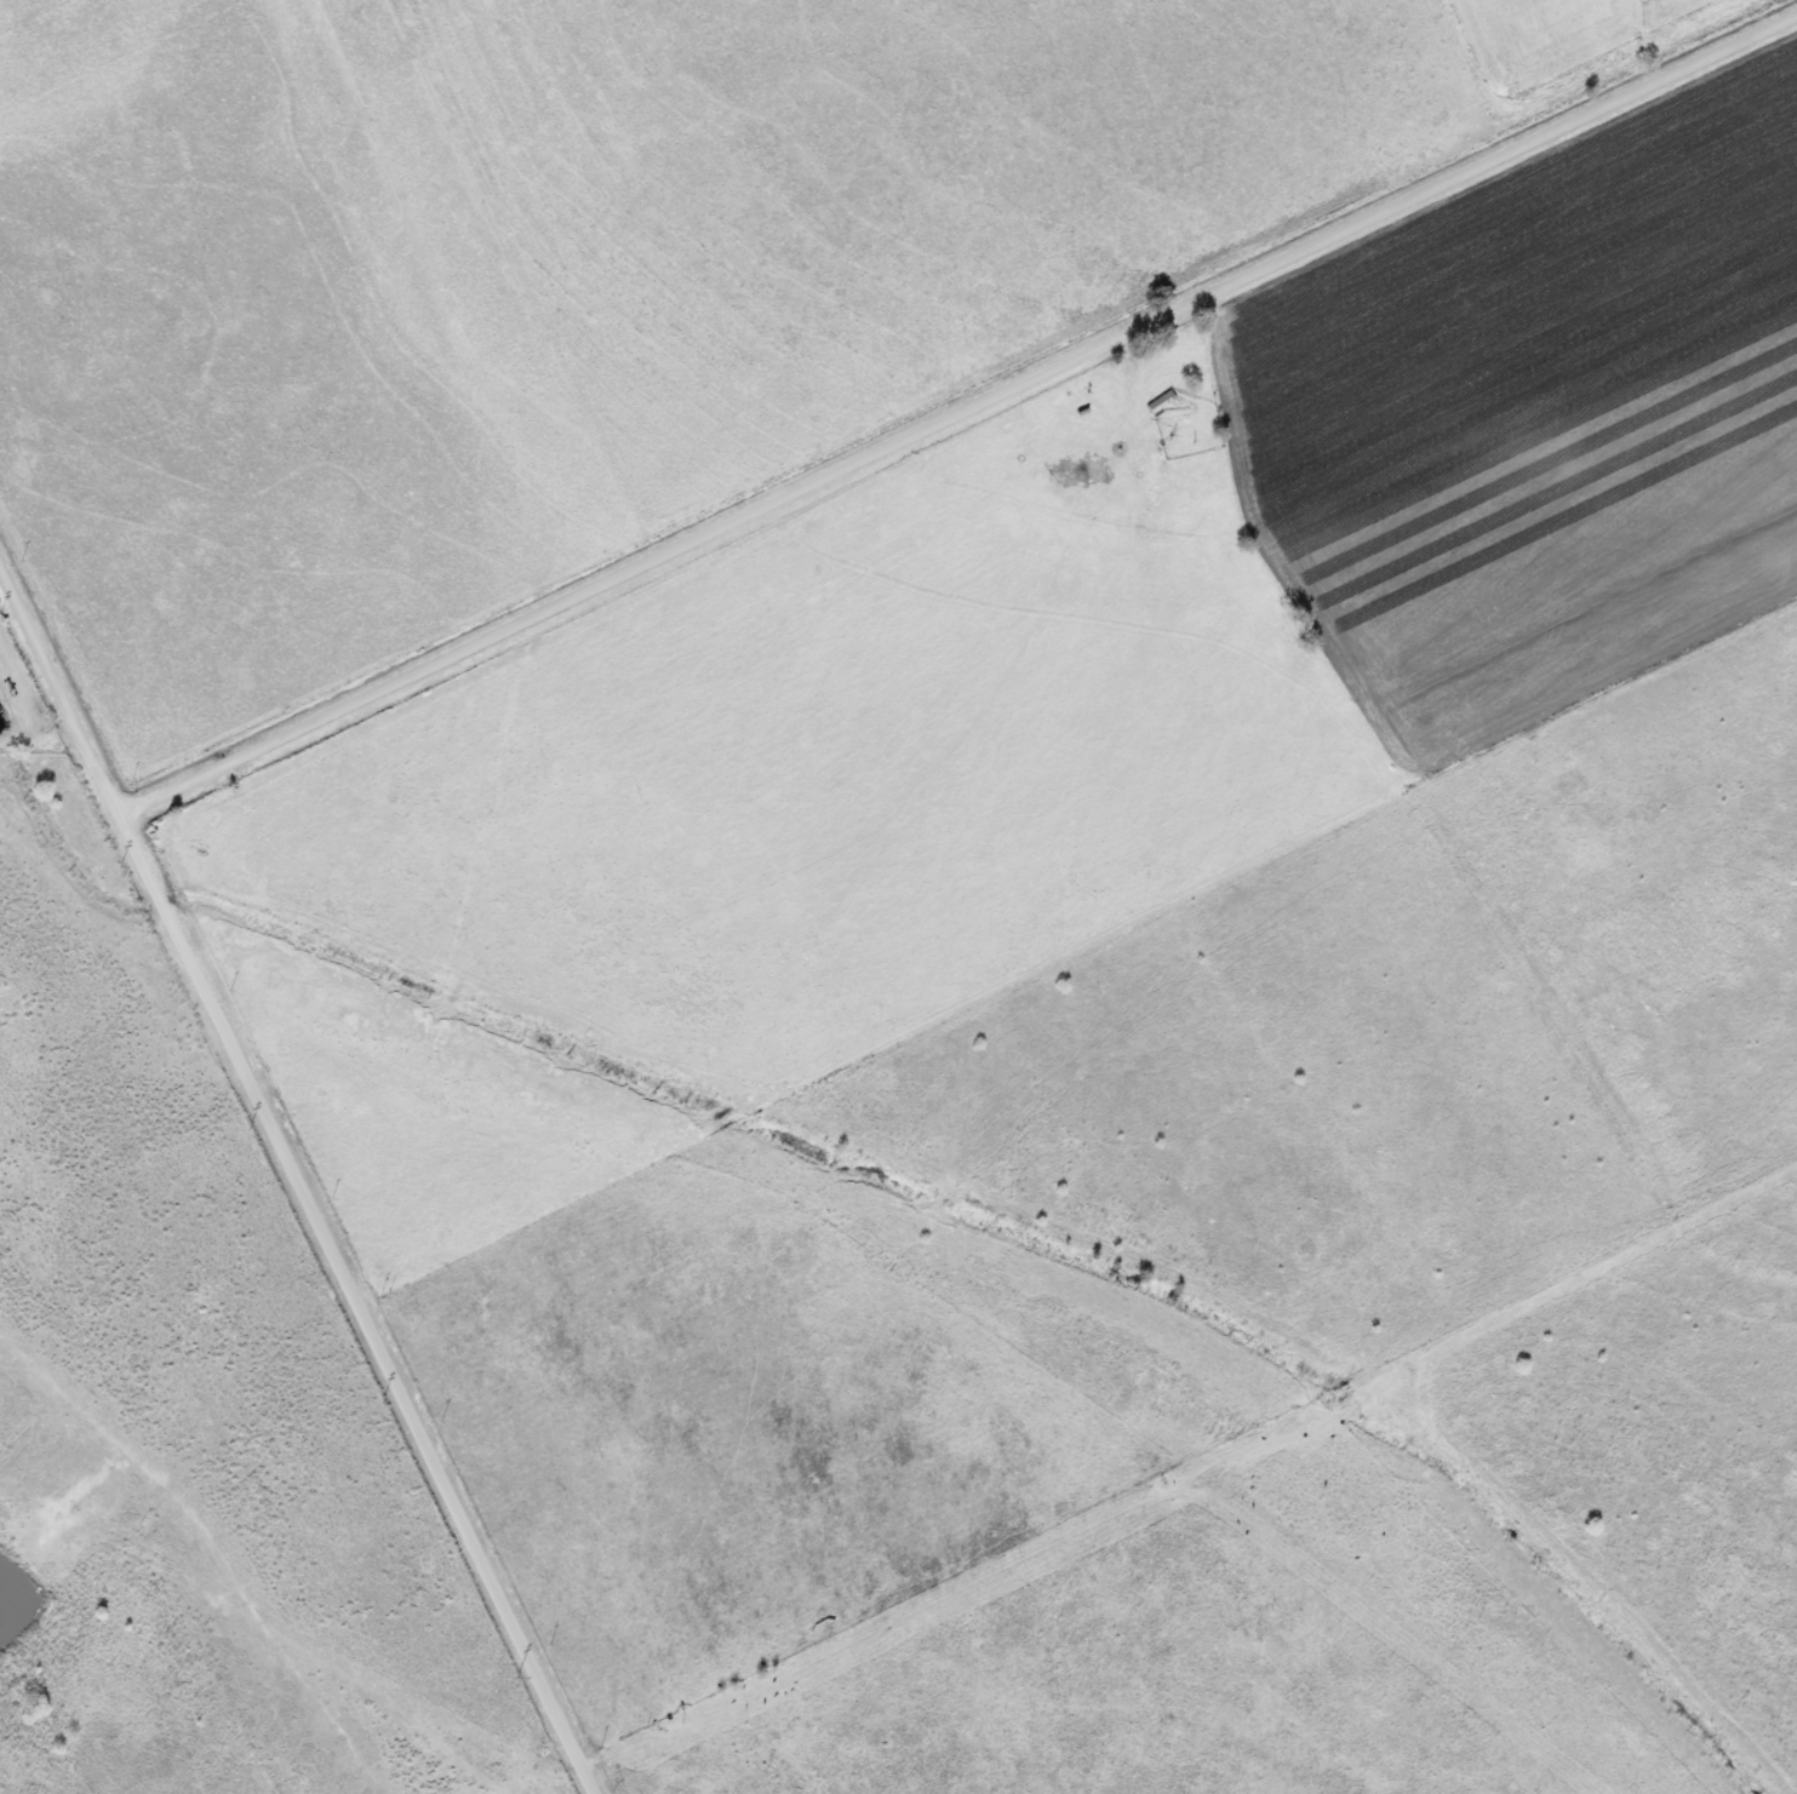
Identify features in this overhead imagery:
building: (1157, 402)
road: (954, 406)
road: (297, 1183)

